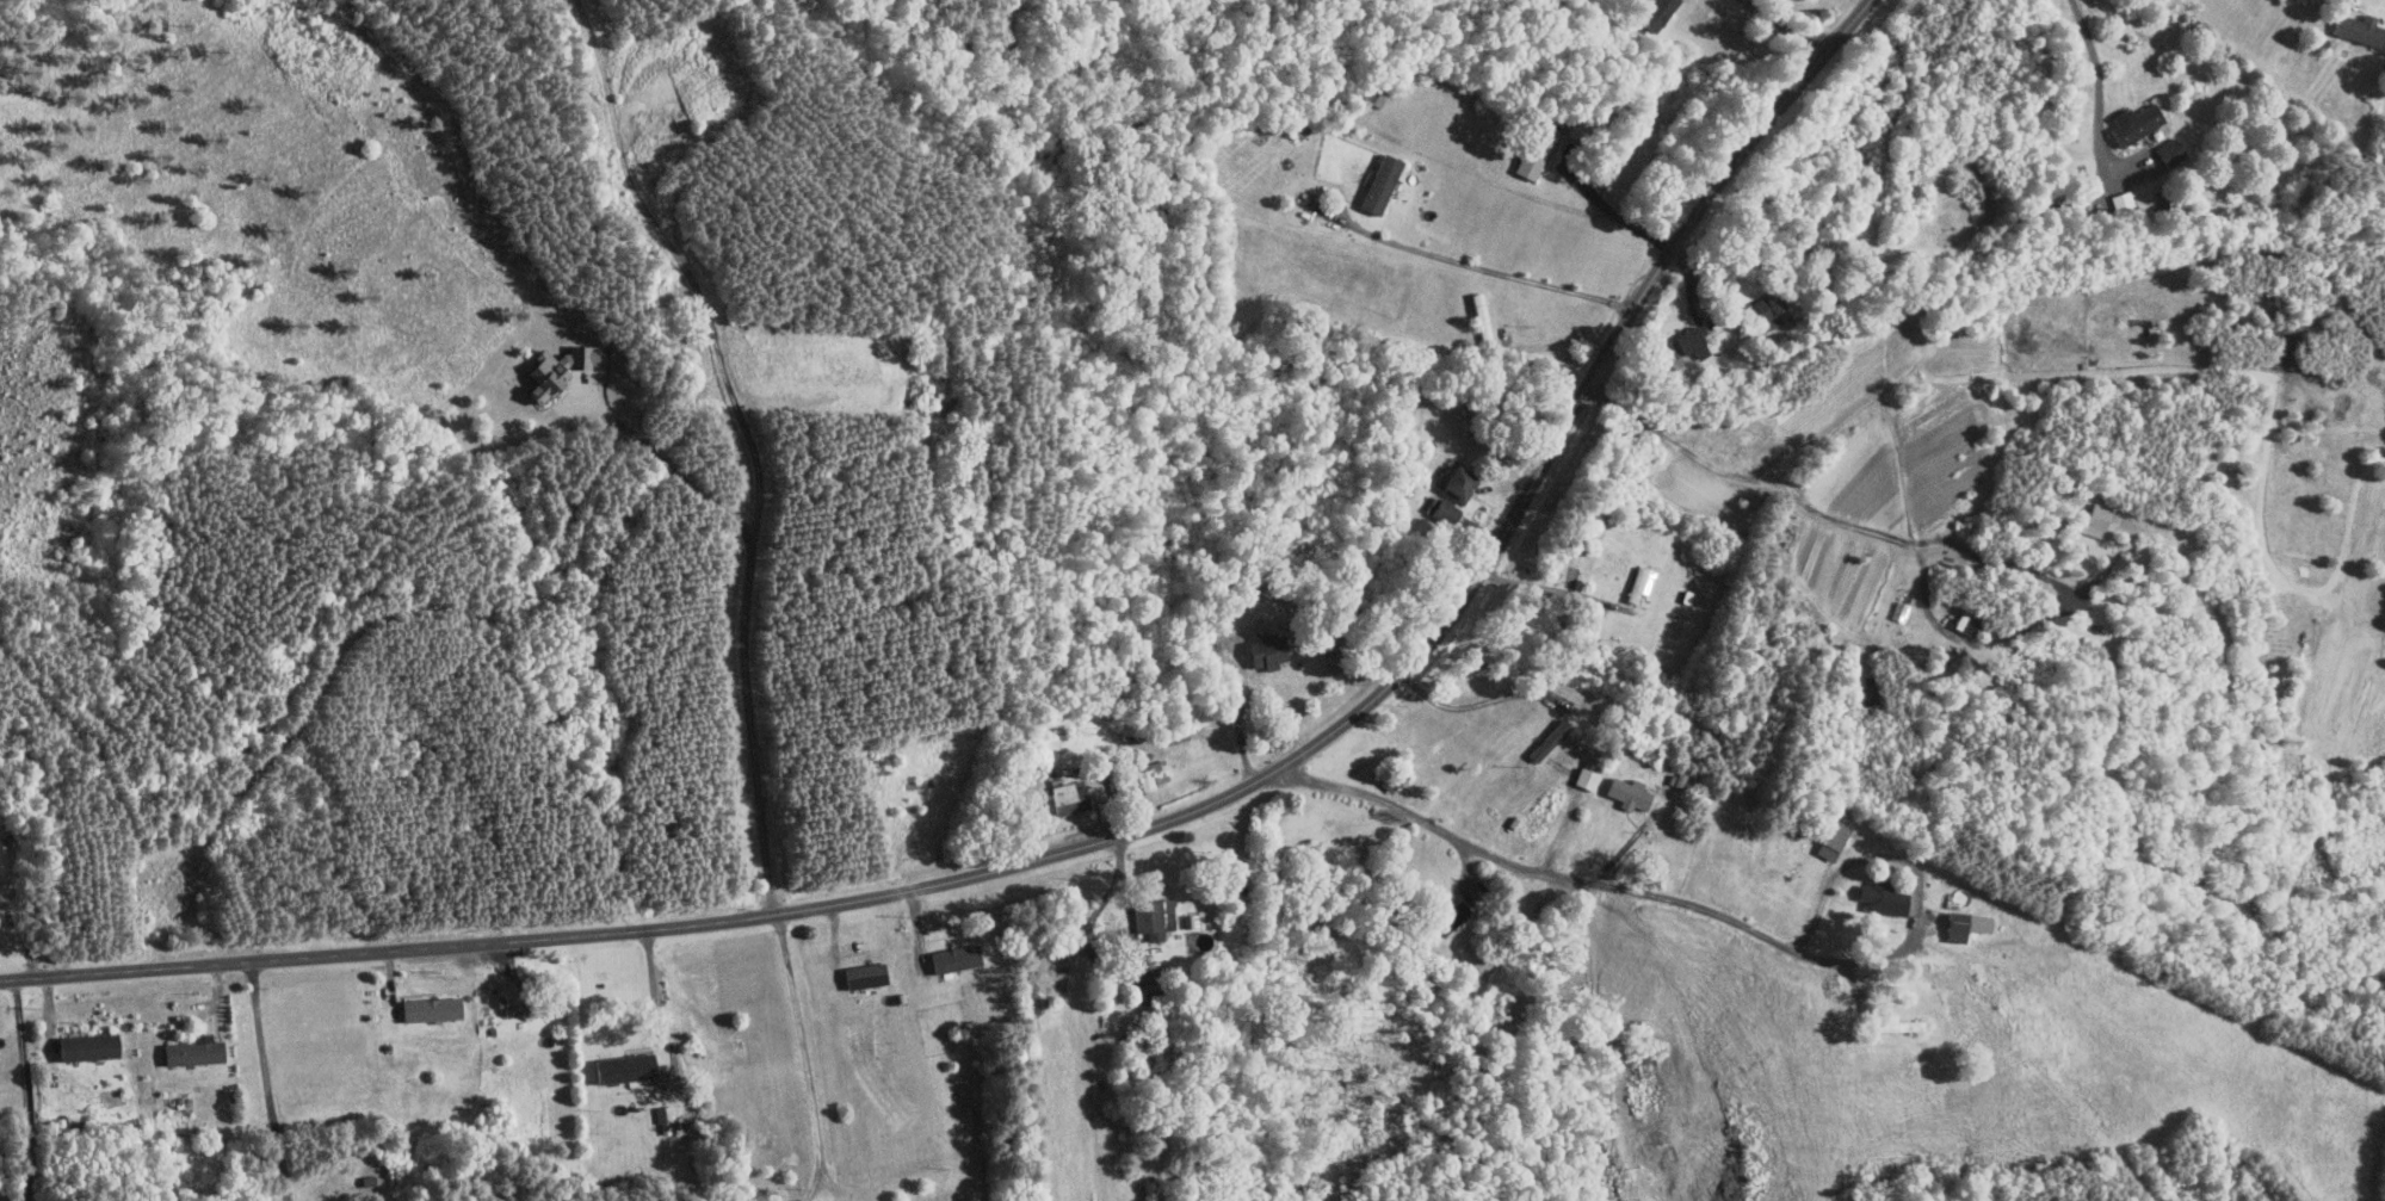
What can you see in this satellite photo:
road: (2354, 2)
building: (1655, 12)
road: (1781, 26)
building: (2359, 29)
road: (2097, 87)
building: (1374, 95)
building: (2134, 124)
building: (1533, 151)
building: (2170, 151)
building: (1377, 184)
building: (2121, 199)
road: (1615, 210)
road: (1504, 273)
building: (1477, 308)
building: (1767, 311)
building: (1689, 342)
building: (554, 372)
building: (1452, 483)
building: (2096, 522)
road: (2278, 578)
building: (1638, 584)
road: (1547, 587)
road: (1923, 599)
road: (746, 607)
building: (1262, 652)
road: (1468, 707)
building: (1547, 739)
building: (1150, 773)
building: (1584, 779)
building: (1626, 793)
building: (1065, 799)
road: (1127, 836)
building: (1830, 840)
road: (1515, 861)
road: (1916, 868)
building: (1883, 898)
road: (1125, 899)
building: (1151, 916)
building: (1446, 917)
building: (1963, 925)
road: (1814, 955)
building: (861, 974)
building: (1141, 979)
road: (655, 993)
building: (509, 1004)
building: (427, 1008)
building: (1896, 1024)
building: (84, 1045)
building: (192, 1050)
road: (805, 1058)
building: (620, 1067)
road: (268, 1081)
road: (27, 1092)
road: (832, 1182)

